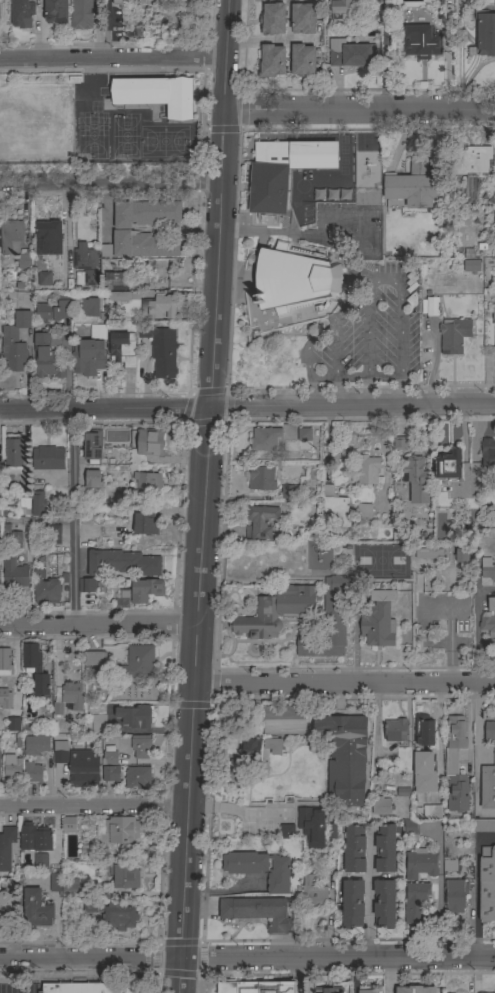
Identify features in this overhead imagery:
building: (160, 0)
building: (185, 0)
building: (142, 1)
building: (118, 2)
building: (341, 8)
building: (55, 11)
building: (21, 12)
building: (81, 14)
building: (303, 18)
building: (273, 19)
building: (484, 35)
building: (422, 43)
building: (351, 54)
road: (383, 54)
road: (113, 58)
building: (302, 60)
building: (271, 61)
building: (156, 95)
road: (358, 108)
building: (469, 161)
building: (283, 170)
road: (109, 184)
building: (413, 185)
building: (342, 195)
building: (144, 213)
building: (10, 236)
building: (48, 239)
building: (140, 245)
building: (83, 256)
building: (23, 259)
building: (471, 265)
road: (363, 277)
building: (90, 278)
building: (44, 279)
building: (295, 279)
building: (115, 281)
building: (118, 296)
building: (90, 306)
building: (432, 306)
building: (161, 307)
building: (53, 310)
building: (493, 314)
building: (98, 332)
building: (453, 335)
building: (15, 342)
road: (370, 342)
building: (122, 349)
building: (161, 350)
building: (88, 356)
building: (47, 357)
road: (336, 363)
road: (353, 407)
road: (105, 408)
building: (304, 434)
building: (264, 439)
building: (399, 443)
building: (147, 445)
building: (92, 447)
road: (472, 447)
building: (13, 452)
building: (488, 453)
building: (47, 458)
building: (448, 465)
building: (367, 470)
building: (414, 471)
building: (92, 479)
building: (261, 479)
building: (147, 483)
building: (290, 492)
road: (205, 496)
building: (23, 503)
building: (38, 504)
building: (334, 506)
building: (364, 511)
road: (70, 516)
building: (260, 521)
building: (145, 523)
building: (51, 534)
building: (10, 539)
building: (428, 553)
building: (462, 557)
building: (122, 563)
building: (487, 568)
building: (14, 574)
building: (91, 585)
road: (486, 588)
building: (143, 590)
building: (46, 591)
building: (491, 604)
building: (275, 611)
building: (378, 619)
building: (329, 621)
road: (98, 623)
building: (487, 624)
road: (477, 630)
road: (486, 641)
building: (94, 659)
building: (139, 661)
building: (5, 663)
building: (35, 670)
road: (344, 683)
building: (72, 695)
building: (5, 699)
building: (135, 716)
building: (283, 719)
building: (13, 724)
building: (98, 724)
building: (395, 730)
building: (424, 730)
building: (489, 732)
building: (272, 744)
building: (35, 745)
building: (140, 748)
building: (251, 750)
building: (60, 752)
building: (117, 753)
building: (493, 755)
building: (344, 758)
building: (455, 764)
building: (12, 768)
building: (84, 768)
building: (32, 772)
building: (424, 772)
building: (111, 773)
building: (137, 777)
building: (487, 787)
building: (381, 806)
road: (92, 807)
road: (236, 810)
building: (431, 811)
building: (69, 825)
building: (311, 825)
building: (484, 825)
building: (118, 830)
building: (410, 830)
building: (287, 832)
building: (34, 837)
building: (7, 848)
building: (385, 849)
building: (354, 850)
building: (40, 861)
building: (420, 863)
building: (449, 865)
building: (260, 869)
building: (122, 874)
building: (62, 884)
building: (487, 885)
building: (312, 893)
building: (455, 895)
road: (369, 897)
building: (415, 902)
building: (352, 903)
building: (384, 904)
building: (92, 905)
building: (8, 909)
building: (36, 909)
building: (257, 912)
building: (118, 917)
road: (337, 959)
road: (90, 960)
road: (299, 976)
road: (352, 976)
road: (389, 976)
building: (256, 987)
building: (79, 988)
building: (415, 989)
building: (327, 990)
building: (368, 991)

